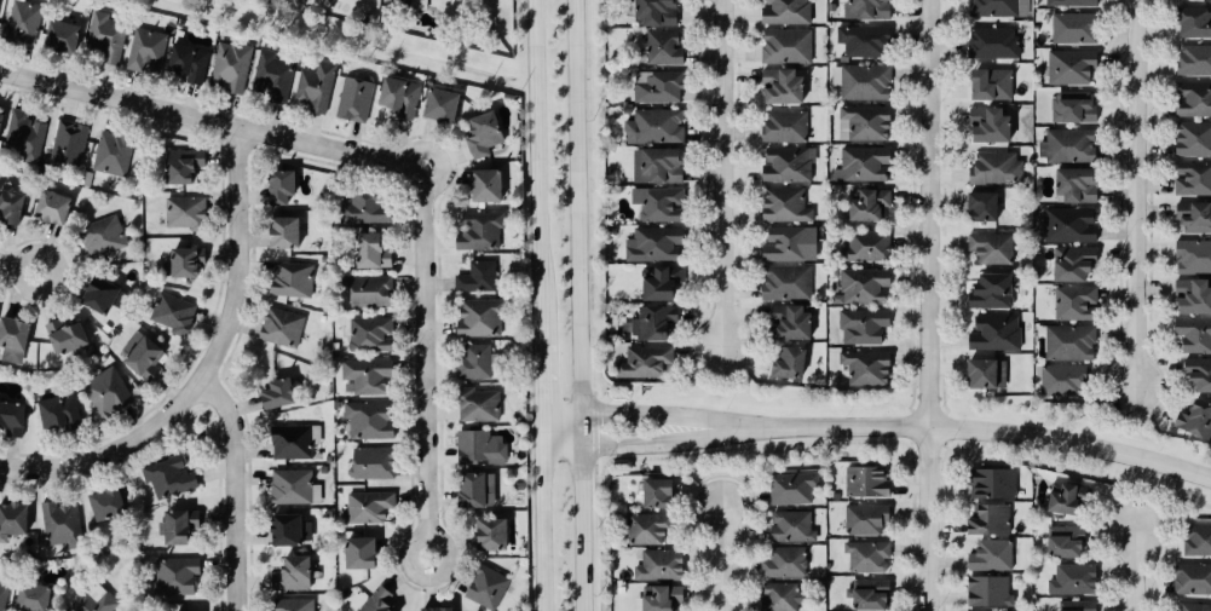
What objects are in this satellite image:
building: (1192, 0)
building: (1074, 2)
building: (996, 7)
building: (1025, 8)
building: (870, 10)
building: (654, 12)
building: (788, 12)
building: (25, 23)
building: (1194, 23)
building: (1078, 29)
building: (63, 39)
building: (108, 39)
building: (866, 42)
building: (996, 44)
building: (789, 46)
building: (148, 48)
building: (664, 48)
building: (1195, 59)
building: (190, 64)
building: (1074, 67)
building: (233, 68)
building: (275, 77)
building: (866, 83)
building: (992, 85)
building: (661, 87)
building: (782, 87)
building: (316, 88)
building: (400, 98)
building: (356, 100)
building: (1193, 102)
building: (440, 106)
building: (1074, 109)
building: (0, 119)
road: (212, 120)
building: (864, 125)
building: (784, 127)
building: (988, 127)
building: (657, 128)
building: (483, 137)
building: (24, 138)
building: (1192, 140)
building: (69, 145)
building: (1072, 148)
building: (113, 155)
building: (657, 166)
building: (786, 166)
building: (863, 166)
building: (181, 167)
building: (994, 169)
road: (535, 172)
road: (721, 173)
building: (1192, 179)
building: (486, 188)
building: (1077, 188)
building: (281, 189)
road: (1132, 194)
building: (324, 198)
building: (659, 204)
road: (577, 207)
building: (783, 207)
building: (867, 207)
building: (981, 208)
building: (10, 209)
building: (52, 209)
building: (365, 211)
building: (186, 214)
building: (1192, 219)
building: (1069, 226)
building: (480, 232)
building: (284, 234)
building: (103, 238)
building: (791, 246)
building: (865, 246)
building: (654, 247)
building: (988, 250)
building: (371, 254)
building: (1193, 259)
building: (185, 264)
building: (1073, 264)
road: (19, 267)
building: (478, 279)
building: (292, 281)
building: (788, 284)
building: (657, 287)
building: (865, 287)
building: (368, 293)
building: (991, 293)
building: (99, 298)
building: (1192, 299)
road: (930, 305)
building: (1076, 305)
building: (173, 316)
building: (480, 319)
building: (653, 325)
building: (786, 325)
building: (282, 329)
building: (861, 329)
building: (70, 335)
building: (996, 335)
building: (370, 336)
building: (1195, 336)
building: (12, 341)
building: (1072, 344)
building: (142, 358)
road: (426, 363)
building: (477, 363)
building: (646, 363)
road: (208, 365)
building: (786, 365)
building: (865, 370)
building: (982, 377)
building: (1195, 377)
building: (365, 379)
road: (537, 381)
building: (1065, 382)
building: (10, 390)
building: (106, 392)
building: (277, 394)
building: (478, 405)
building: (57, 409)
road: (663, 415)
road: (558, 416)
building: (12, 419)
building: (1195, 420)
building: (369, 421)
road: (537, 432)
road: (579, 432)
road: (981, 433)
building: (294, 442)
building: (480, 446)
road: (663, 446)
road: (559, 449)
building: (374, 463)
building: (168, 478)
building: (866, 483)
building: (993, 484)
road: (235, 489)
building: (294, 489)
building: (792, 489)
building: (477, 490)
building: (656, 494)
building: (1063, 498)
building: (105, 503)
building: (369, 508)
building: (18, 519)
building: (866, 520)
building: (990, 520)
building: (179, 526)
building: (792, 528)
building: (62, 530)
road: (538, 530)
road: (579, 530)
building: (648, 530)
building: (290, 531)
building: (491, 535)
building: (1198, 541)
building: (1065, 542)
building: (359, 553)
building: (992, 557)
building: (869, 558)
road: (720, 559)
building: (785, 564)
building: (659, 566)
road: (1129, 572)
building: (293, 575)
building: (175, 577)
building: (1193, 580)
building: (1074, 581)
building: (486, 588)
building: (990, 592)
building: (870, 595)
building: (2, 596)
building: (782, 596)
building: (31, 598)
building: (662, 598)
building: (379, 601)
building: (93, 603)
building: (293, 605)
building: (1077, 606)
building: (1193, 607)
building: (436, 610)

